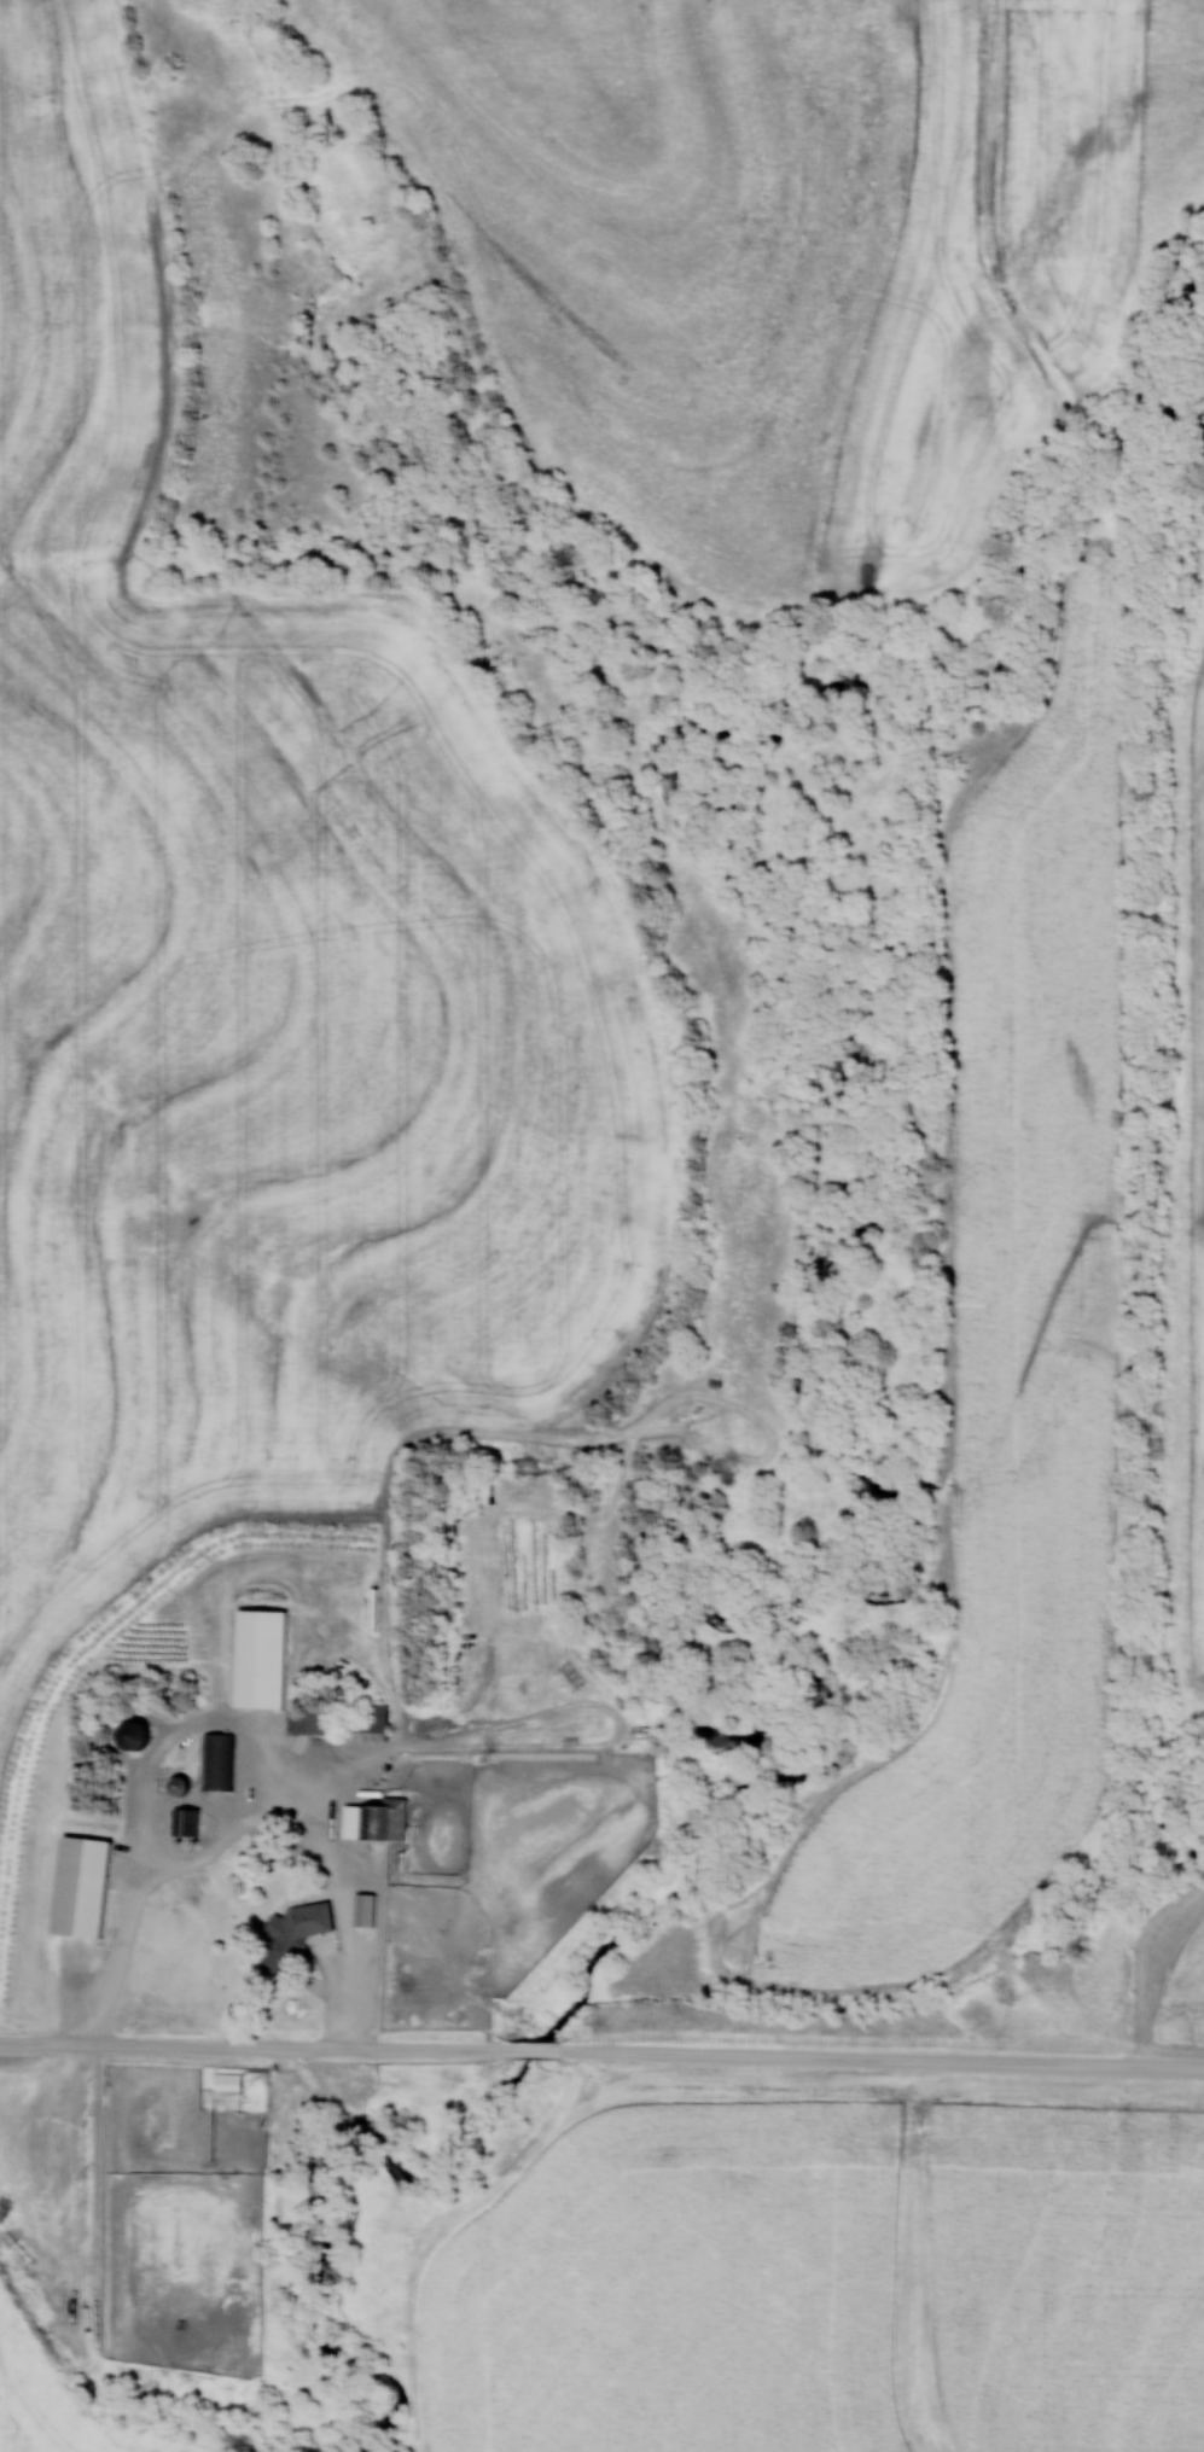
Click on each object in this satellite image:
building: (255, 1656)
building: (304, 1718)
building: (360, 1720)
building: (126, 1732)
building: (216, 1759)
building: (173, 1783)
building: (182, 1819)
building: (372, 1819)
building: (264, 1848)
building: (76, 1885)
road: (130, 1895)
building: (361, 1908)
building: (289, 1929)
road: (254, 2046)
road: (534, 2049)
road: (880, 2061)

